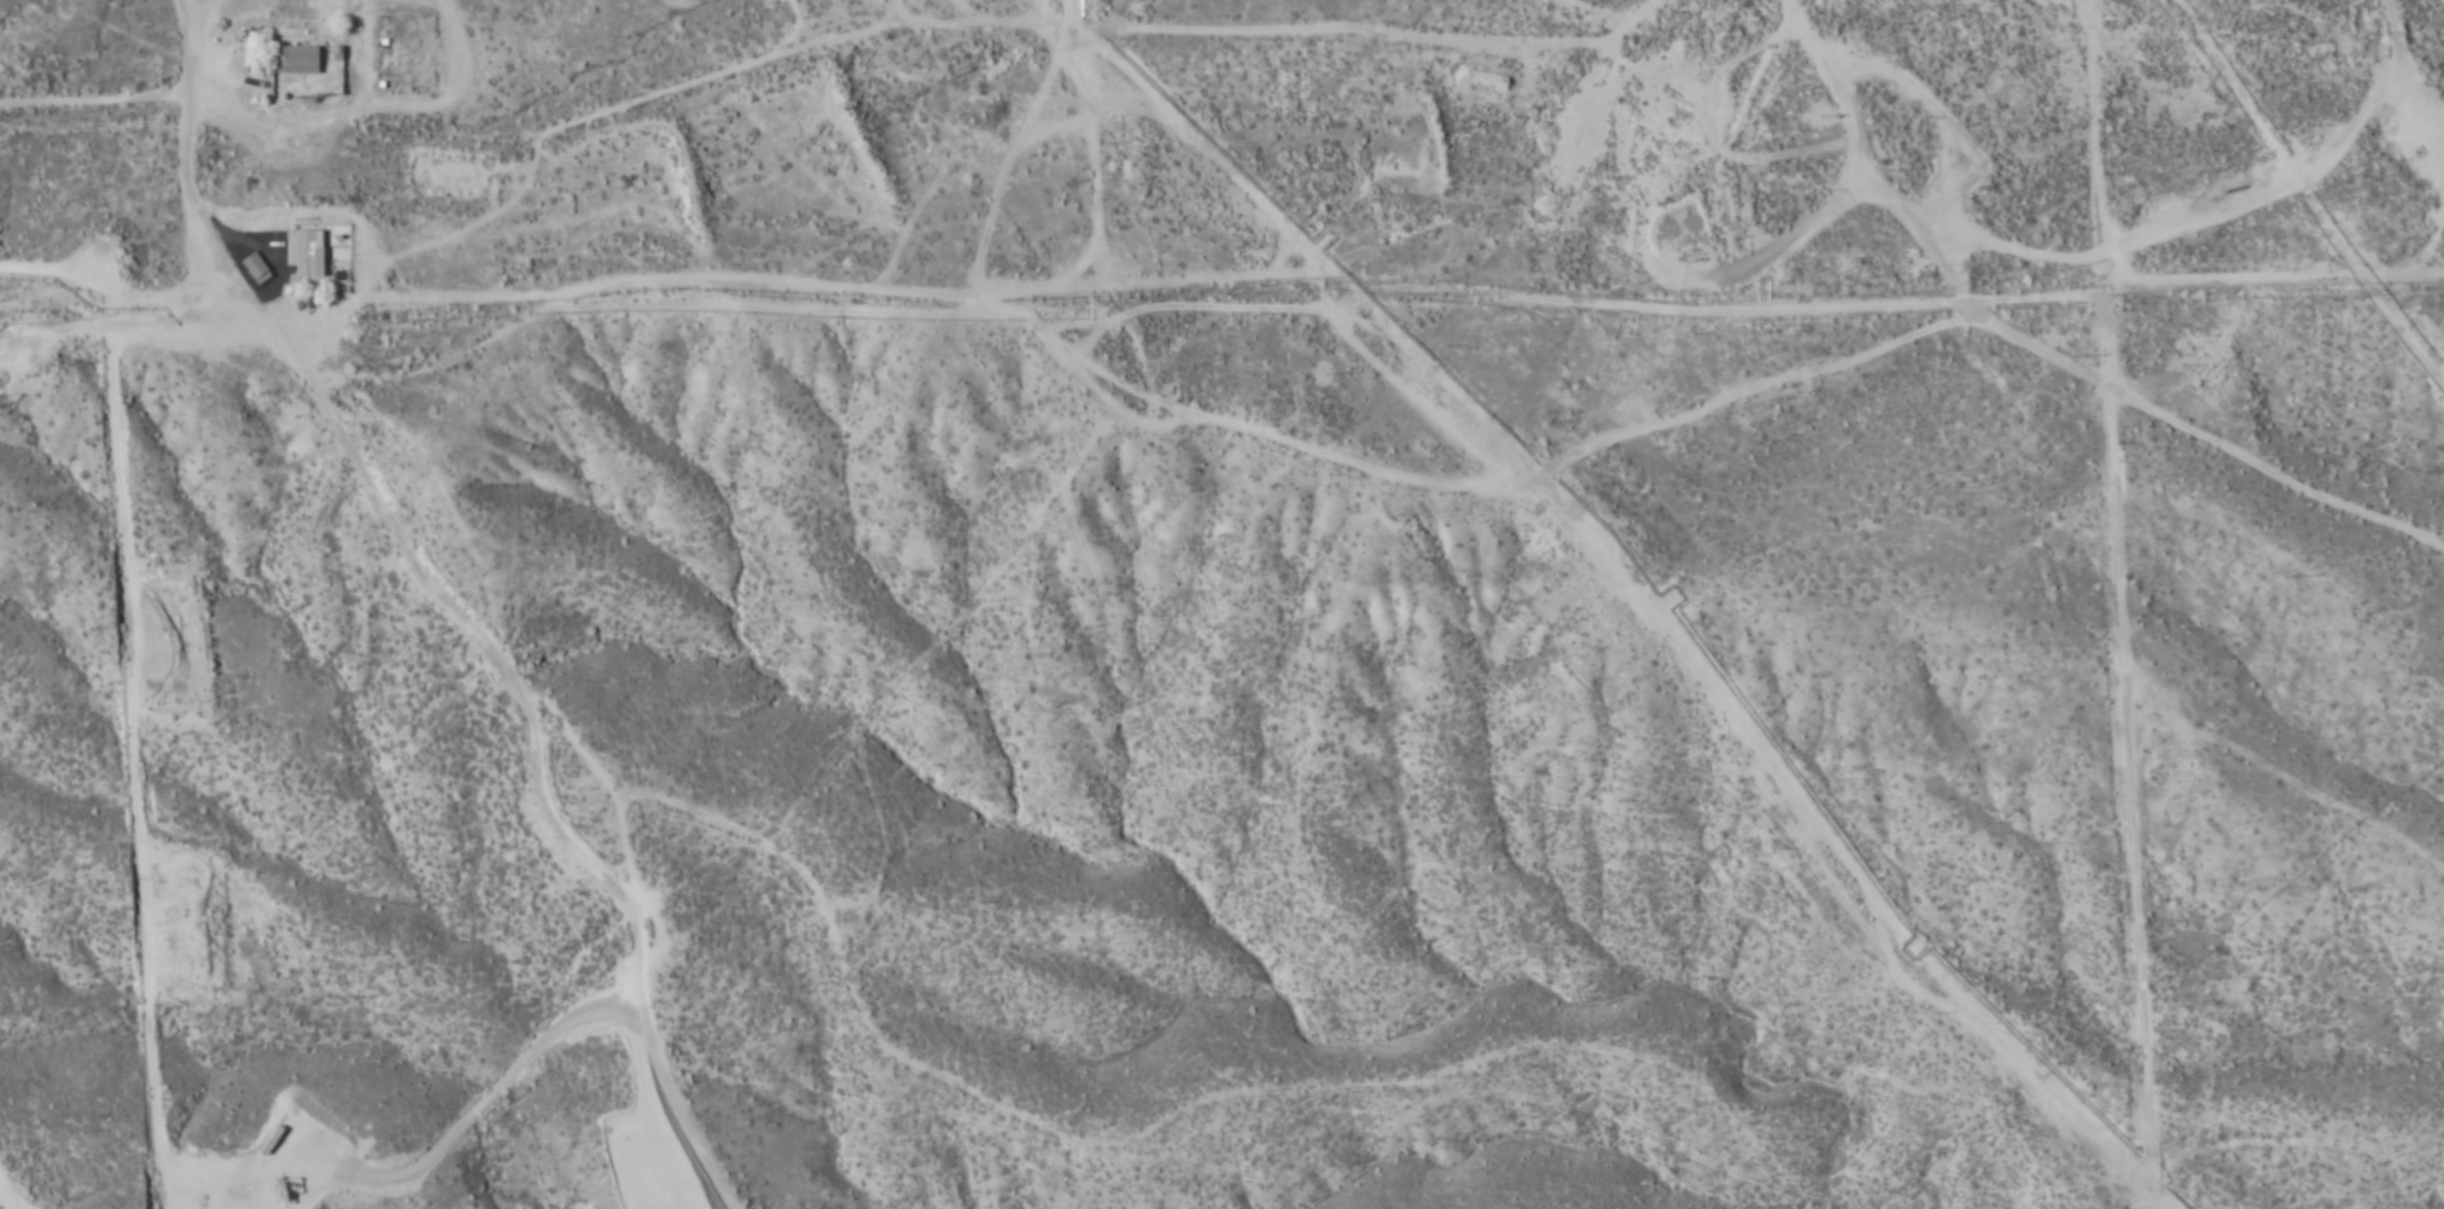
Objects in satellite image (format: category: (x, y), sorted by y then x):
road: (193, 22)
road: (918, 22)
building: (297, 59)
road: (97, 95)
road: (2102, 194)
building: (1691, 222)
building: (303, 253)
building: (251, 267)
road: (1213, 416)
road: (451, 603)

